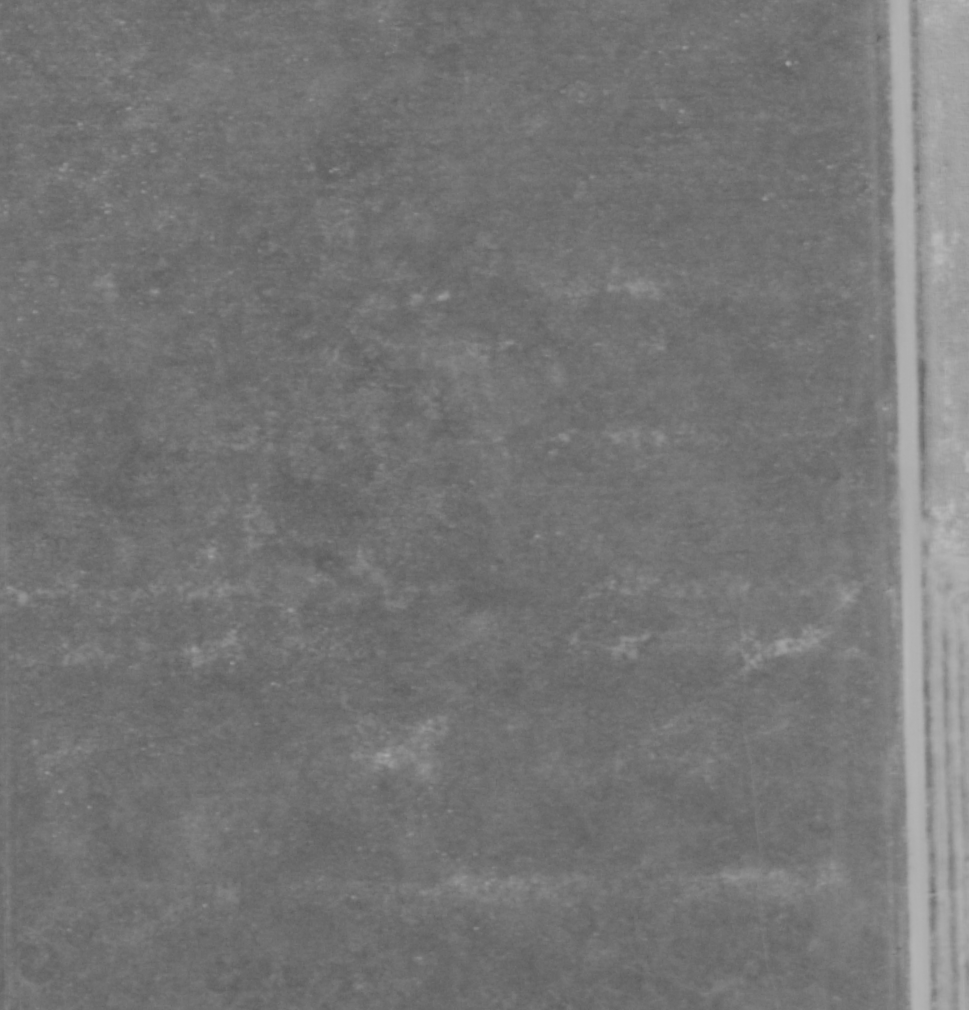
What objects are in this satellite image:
crop: (948, 466)
road: (910, 504)

